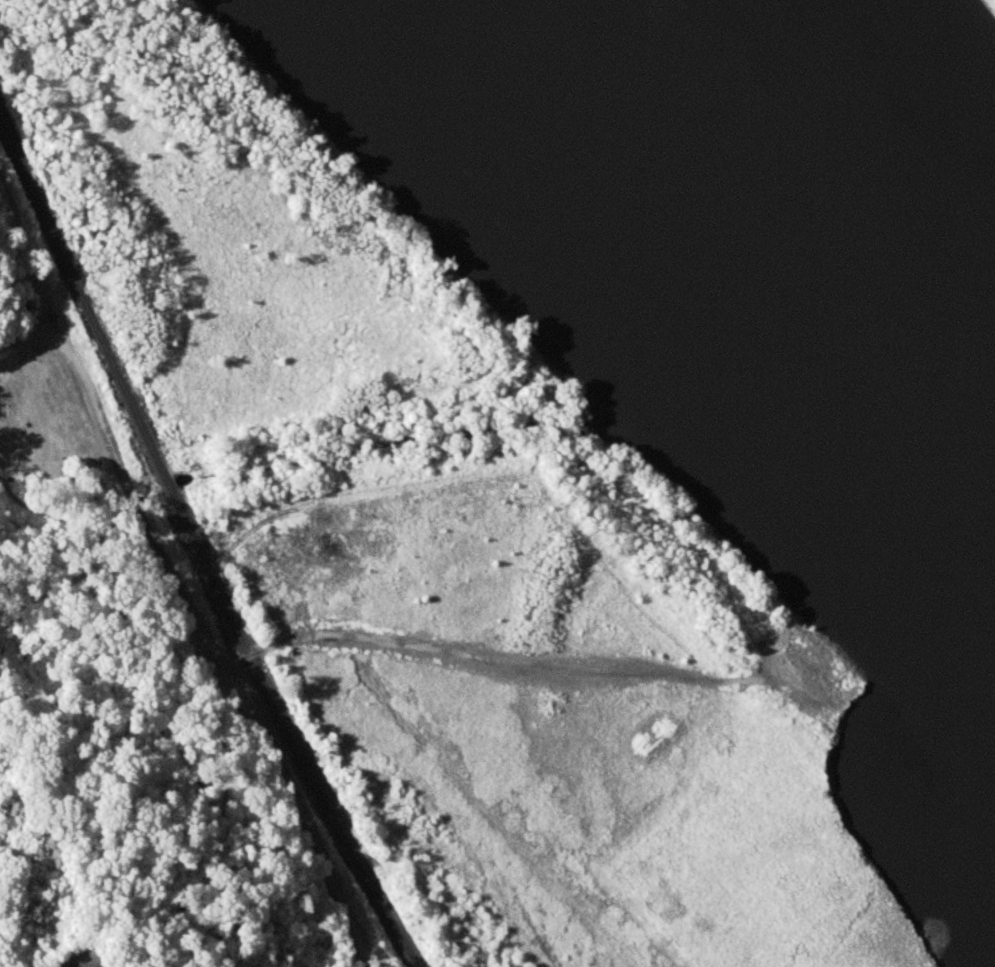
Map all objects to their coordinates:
river: (784, 200)
road: (44, 306)
road: (19, 339)
railway: (197, 550)
road: (218, 643)
road: (482, 658)

